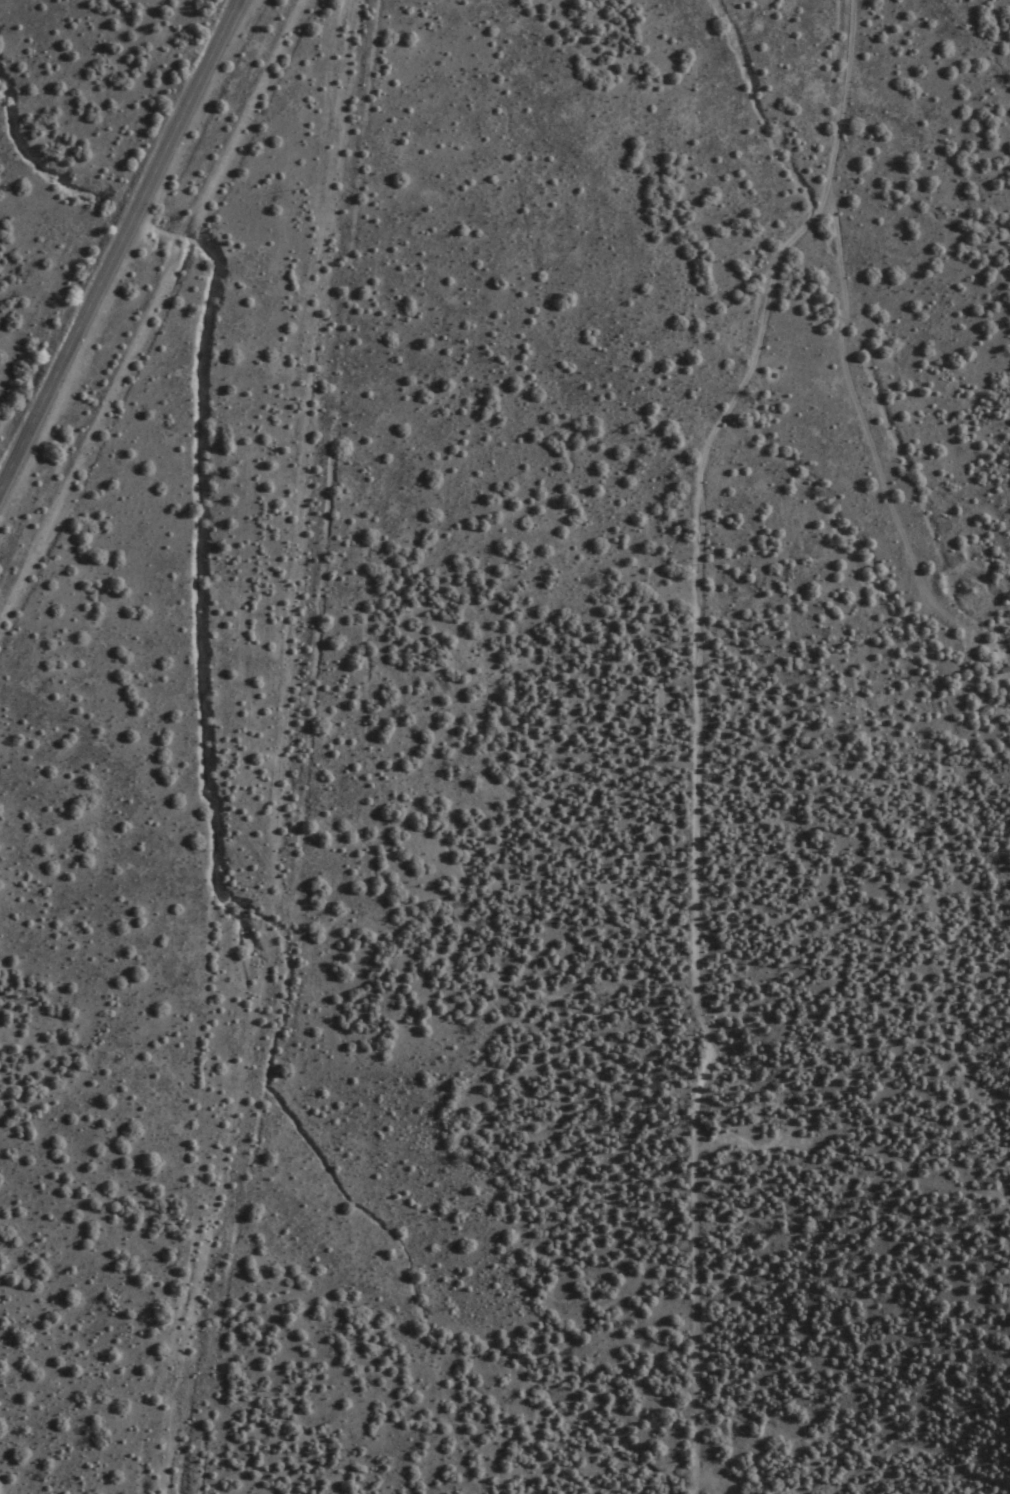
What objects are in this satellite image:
road: (227, 20)
road: (109, 266)

